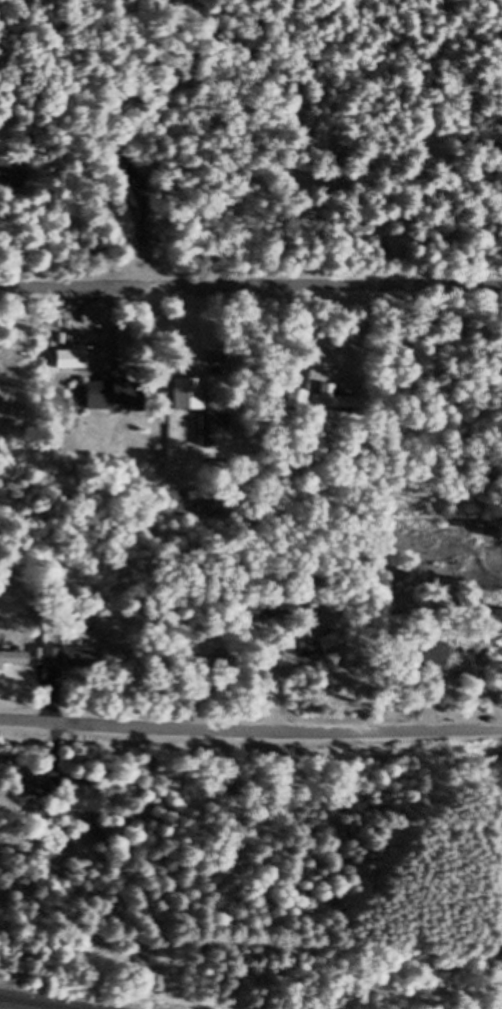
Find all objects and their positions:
building: (136, 173)
building: (11, 182)
road: (250, 293)
building: (73, 367)
building: (187, 402)
building: (116, 403)
building: (297, 406)
building: (336, 406)
building: (216, 432)
building: (286, 622)
building: (431, 665)
building: (69, 666)
building: (7, 667)
building: (216, 673)
road: (250, 737)
building: (38, 789)
building: (82, 804)
railway: (8, 1007)

